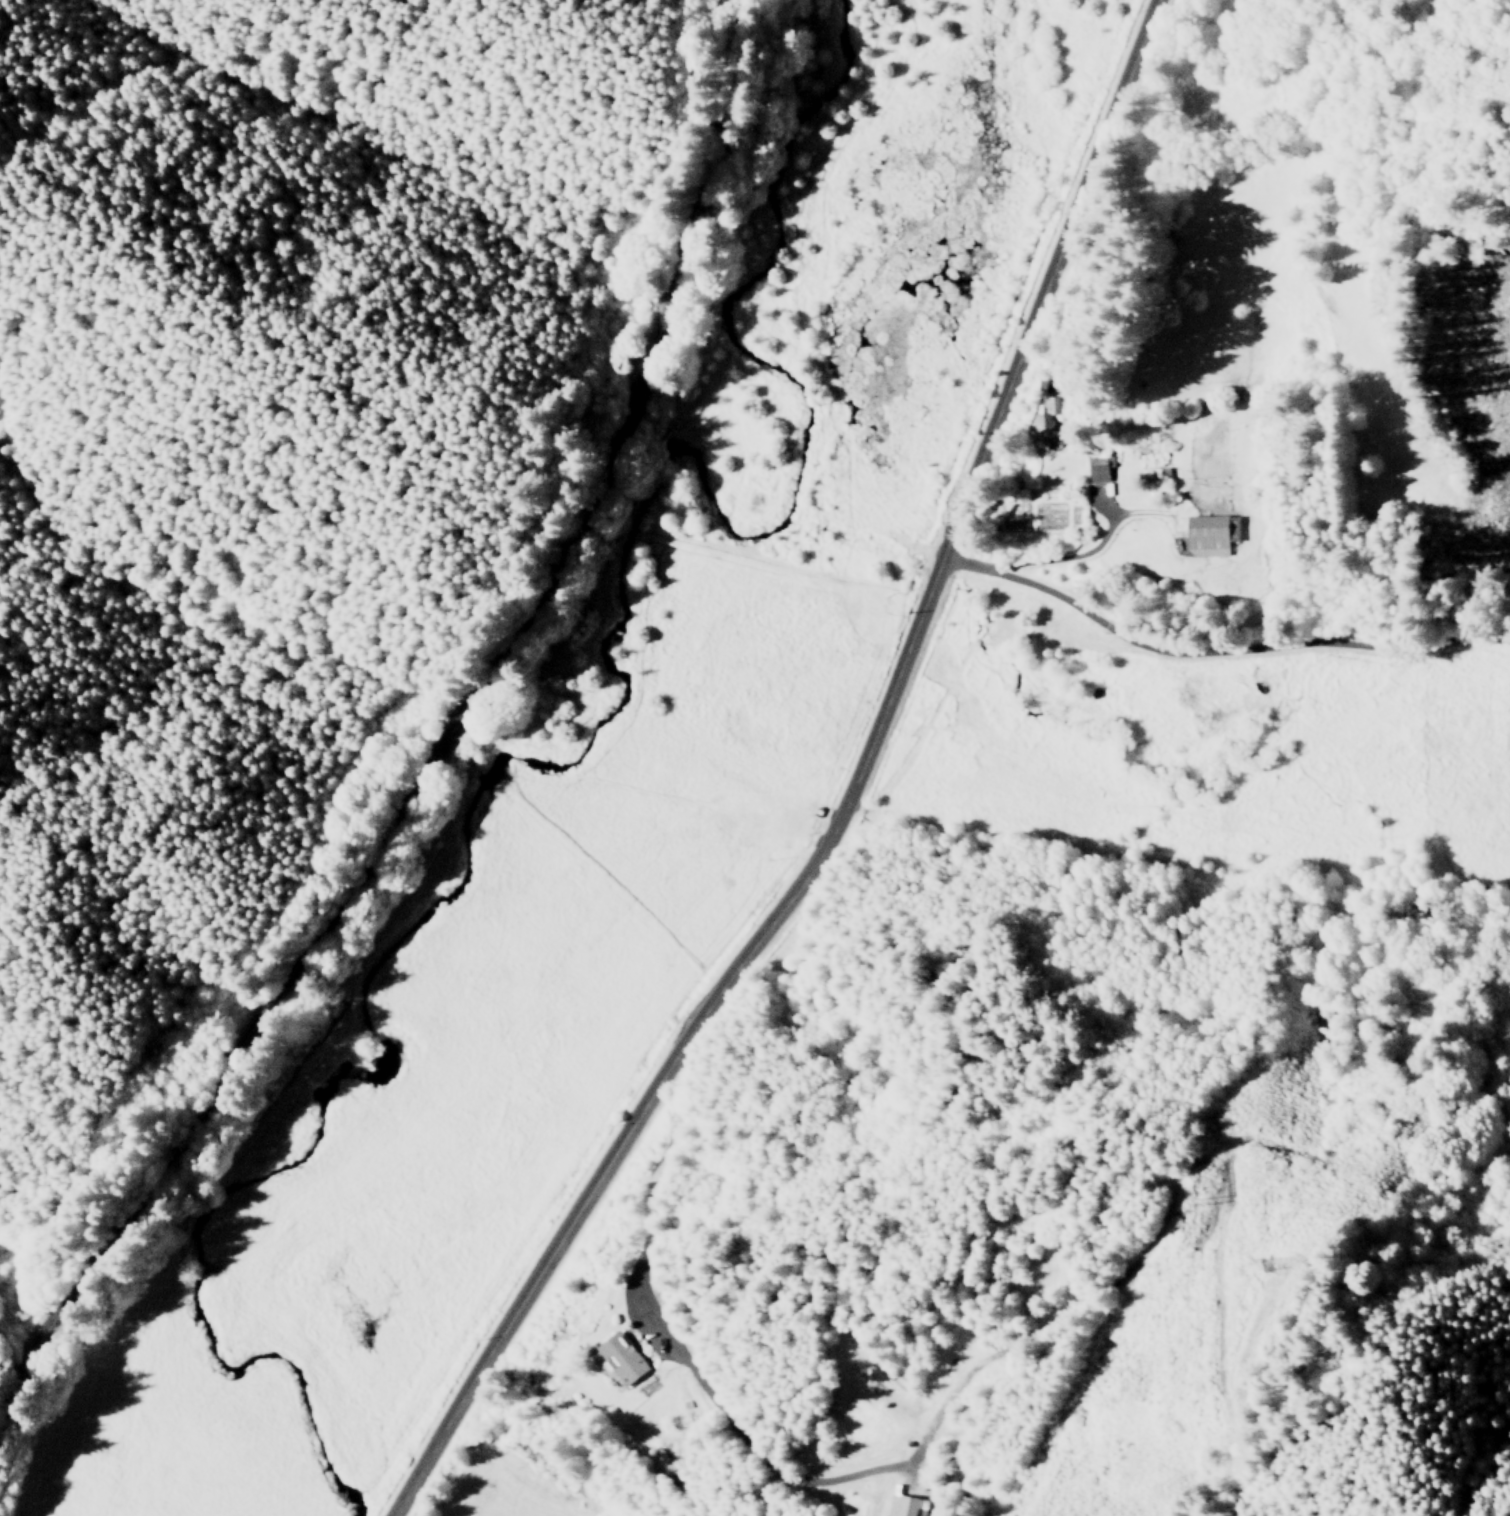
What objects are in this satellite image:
building: (1046, 420)
building: (1099, 468)
building: (1212, 533)
road: (1069, 561)
road: (1215, 648)
railway: (449, 737)
road: (851, 799)
power tower: (1274, 1266)
building: (617, 1356)
road: (714, 1414)
building: (905, 1505)

